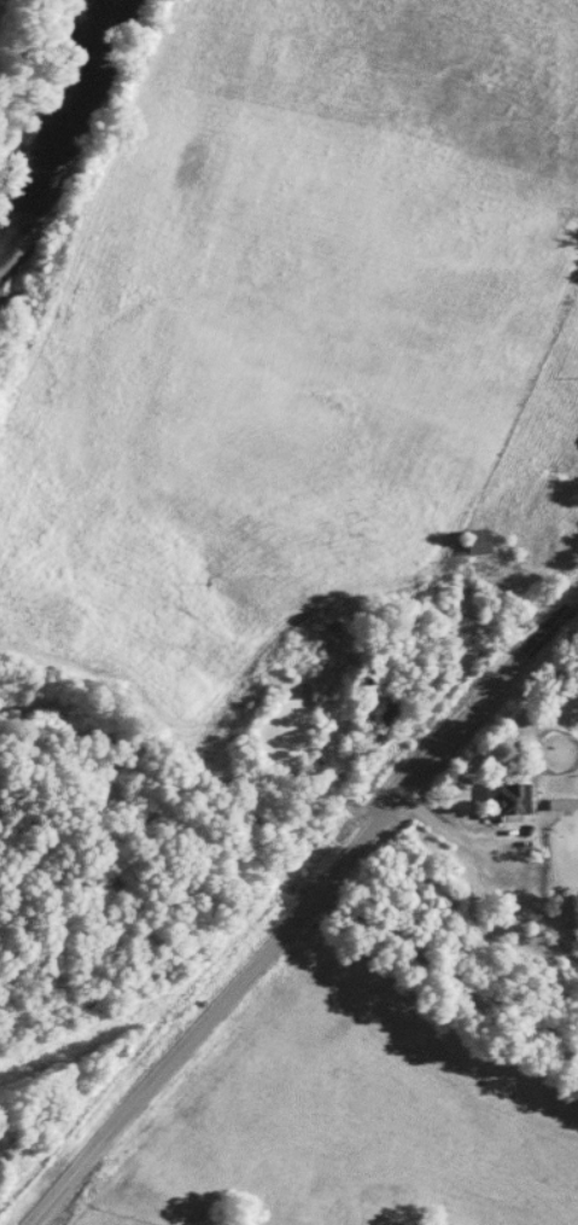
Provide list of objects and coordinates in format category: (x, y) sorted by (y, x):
crop: (6, 16)
river: (69, 123)
building: (474, 544)
road: (533, 699)
building: (506, 803)
building: (561, 805)
road: (300, 910)

